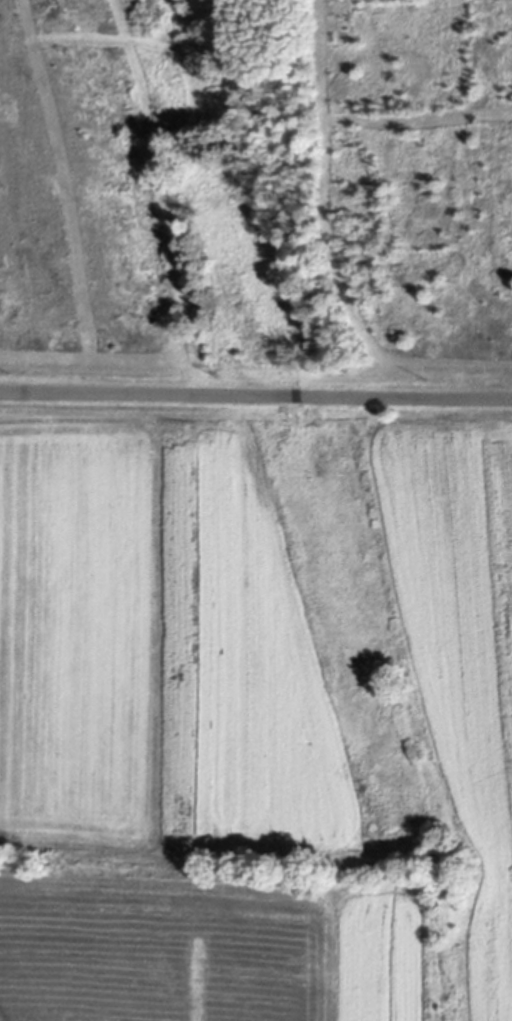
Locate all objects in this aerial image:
road: (256, 398)

